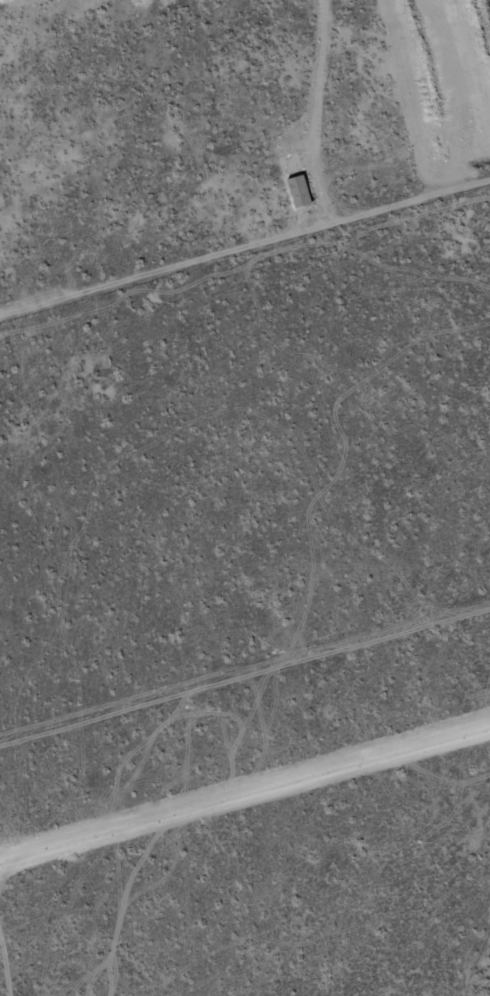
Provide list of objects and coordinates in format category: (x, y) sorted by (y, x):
building: (295, 192)

